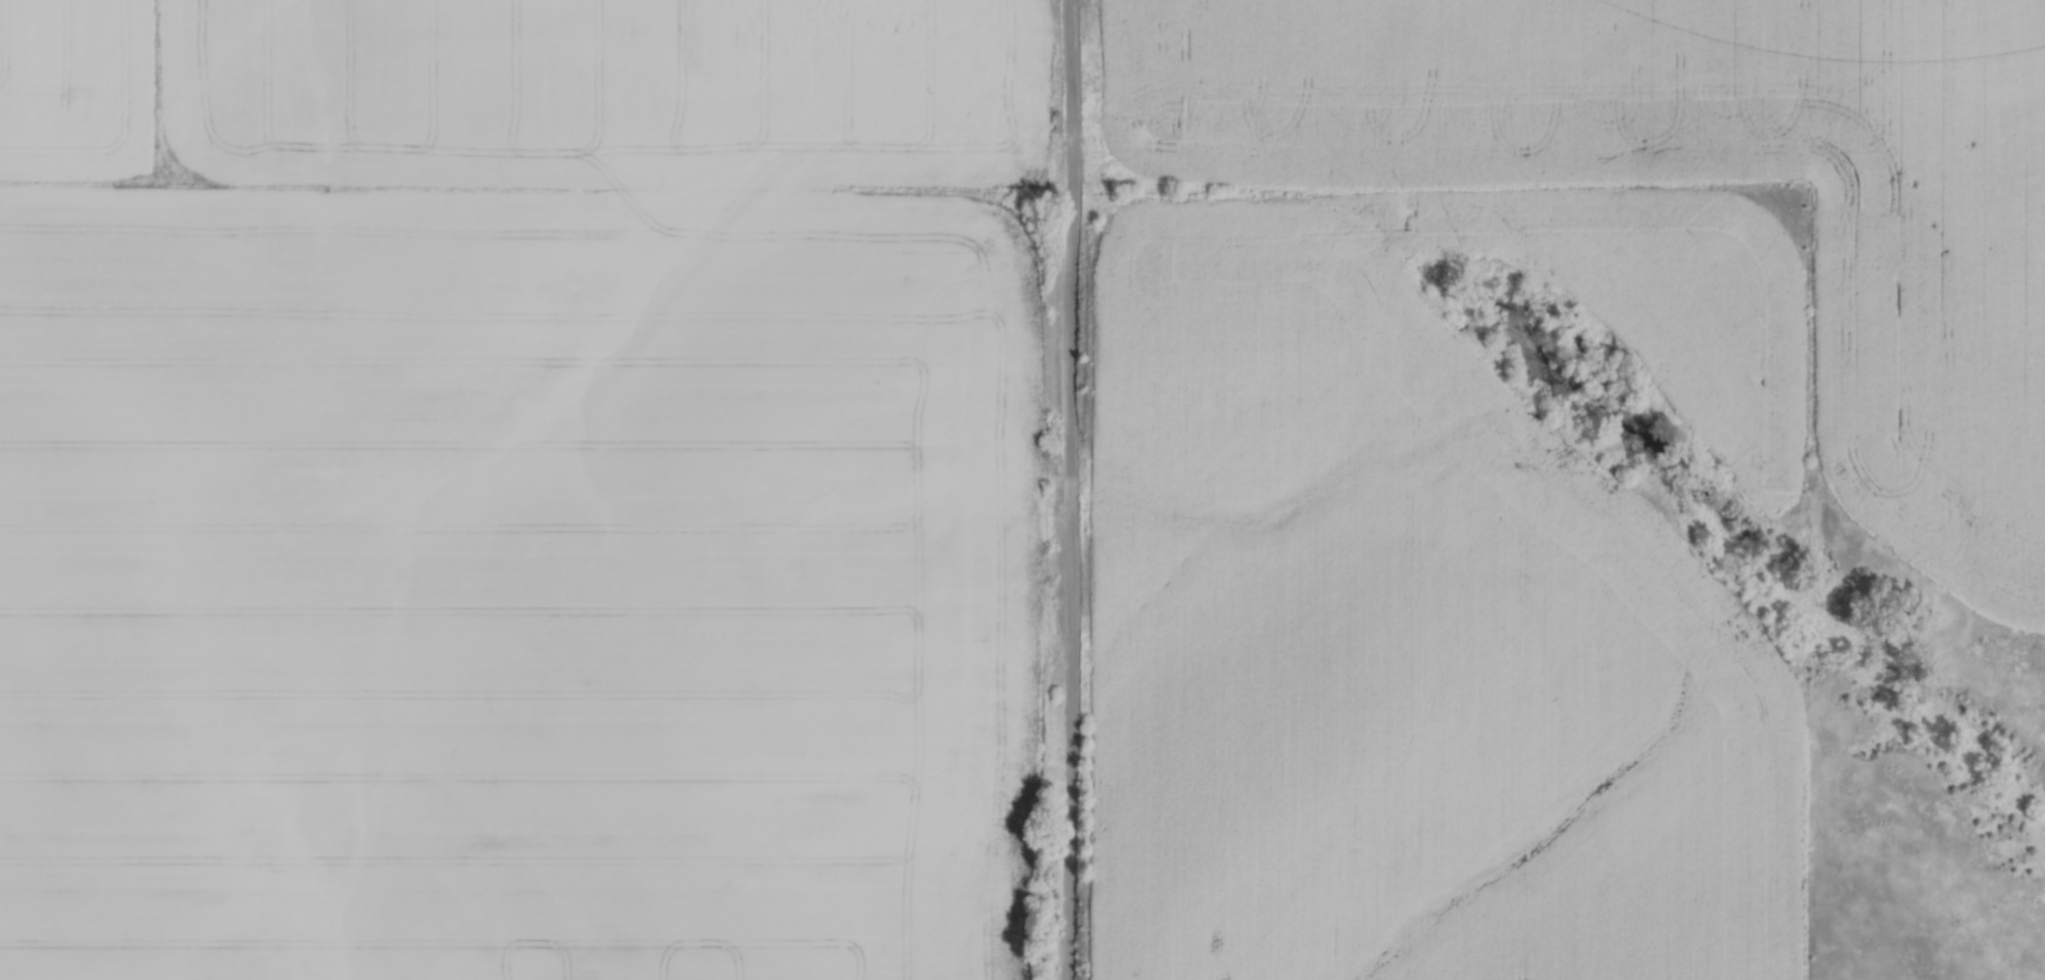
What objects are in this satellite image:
road: (1068, 490)

